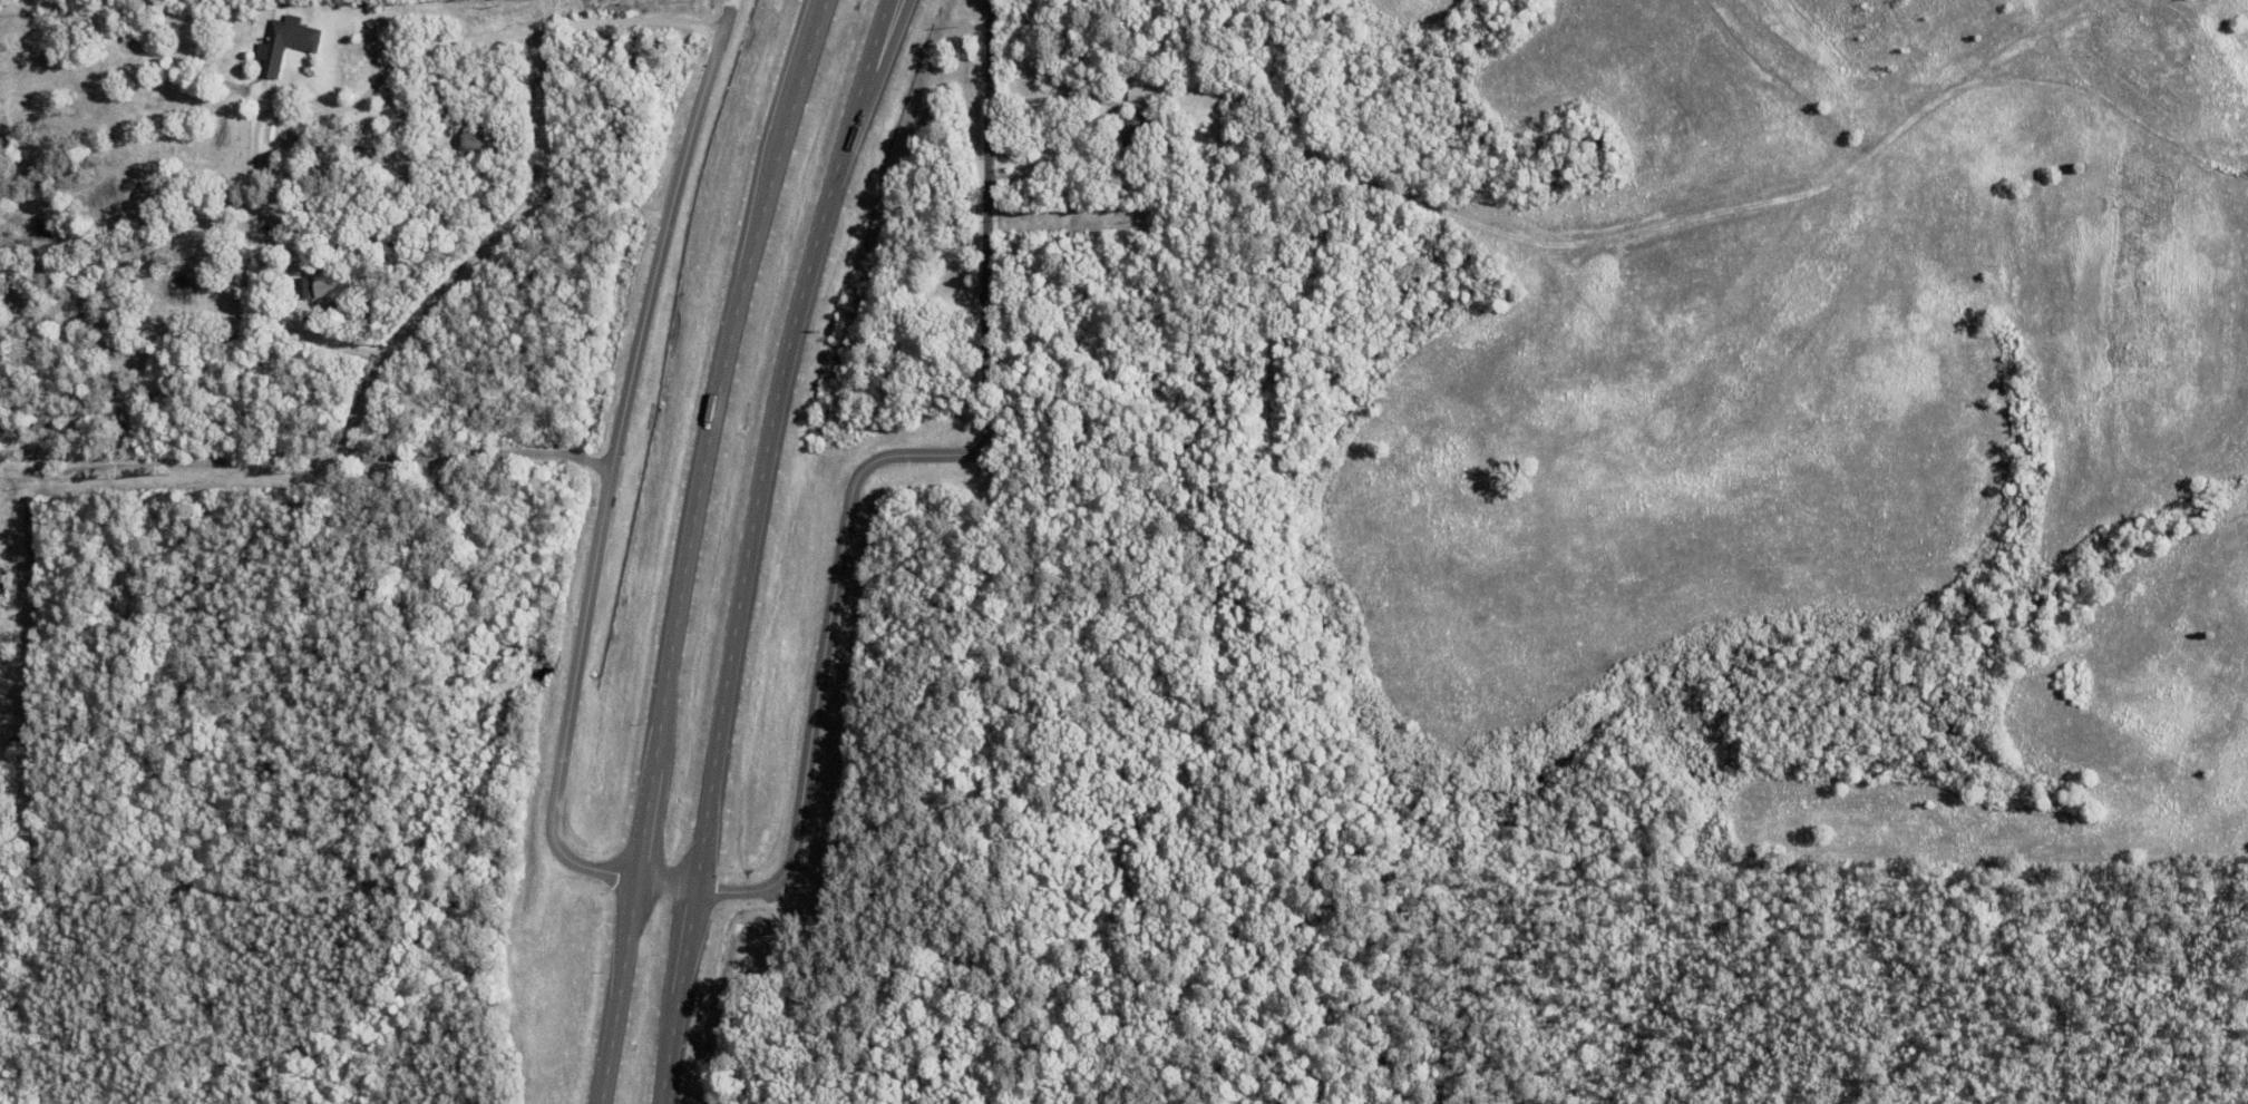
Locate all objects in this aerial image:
road: (516, 35)
building: (285, 47)
building: (1068, 50)
road: (874, 78)
building: (1137, 96)
building: (1132, 138)
building: (479, 143)
building: (474, 149)
road: (1176, 174)
building: (946, 270)
building: (333, 290)
building: (946, 323)
road: (304, 462)
road: (746, 545)
road: (684, 546)
road: (26, 589)
building: (20, 740)
road: (738, 895)
building: (964, 964)

